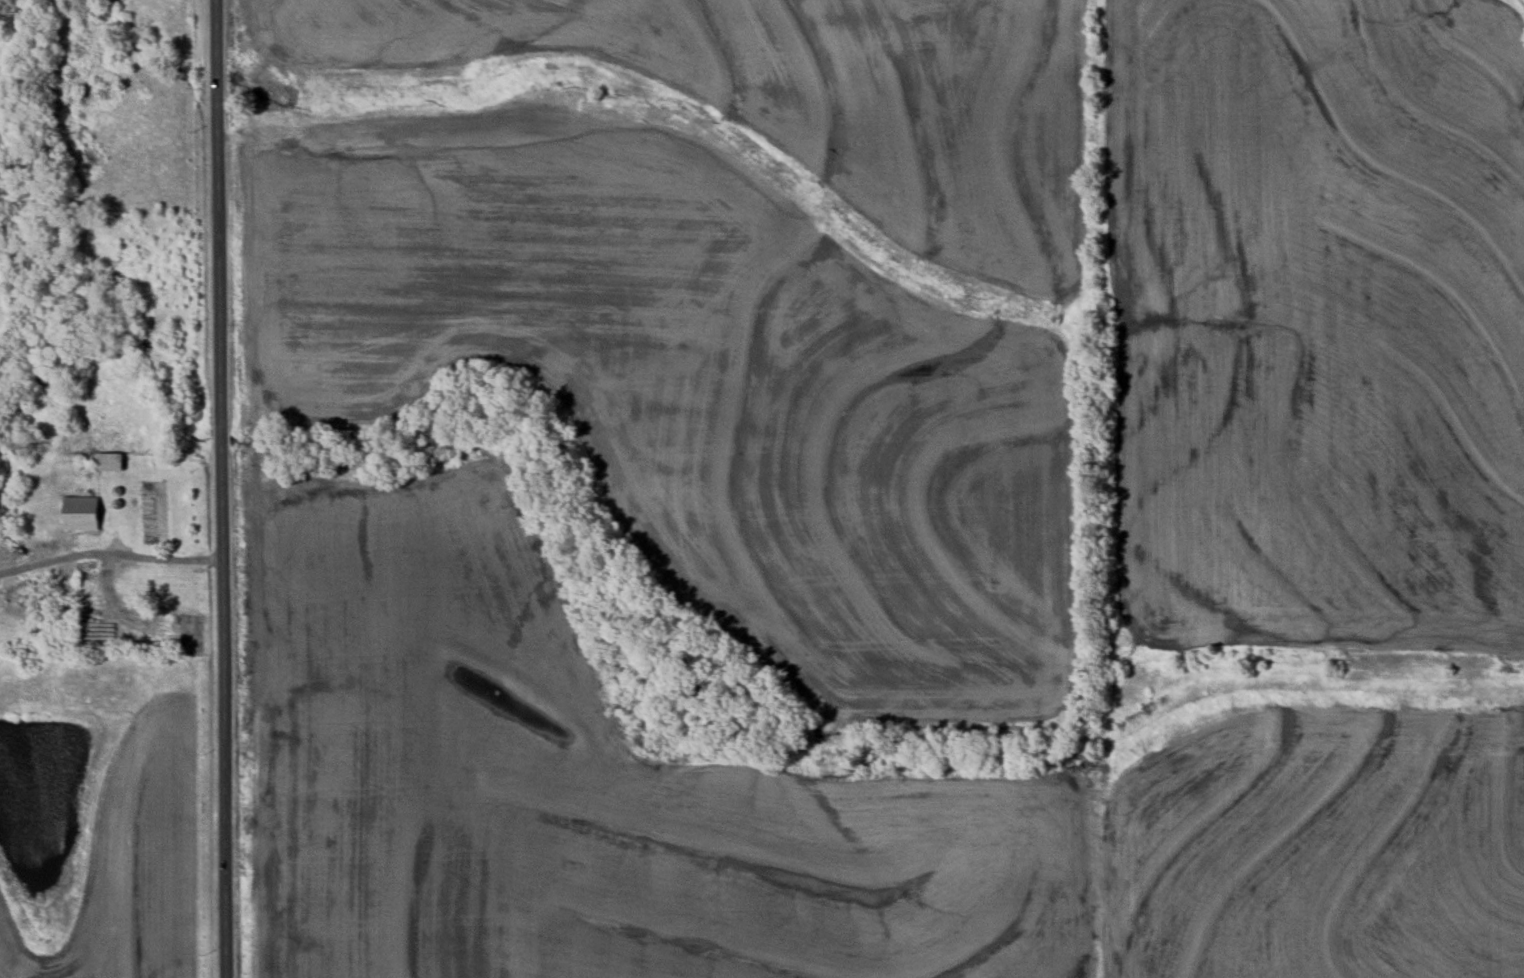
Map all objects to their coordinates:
building: (109, 463)
road: (223, 488)
building: (80, 514)
road: (151, 560)

